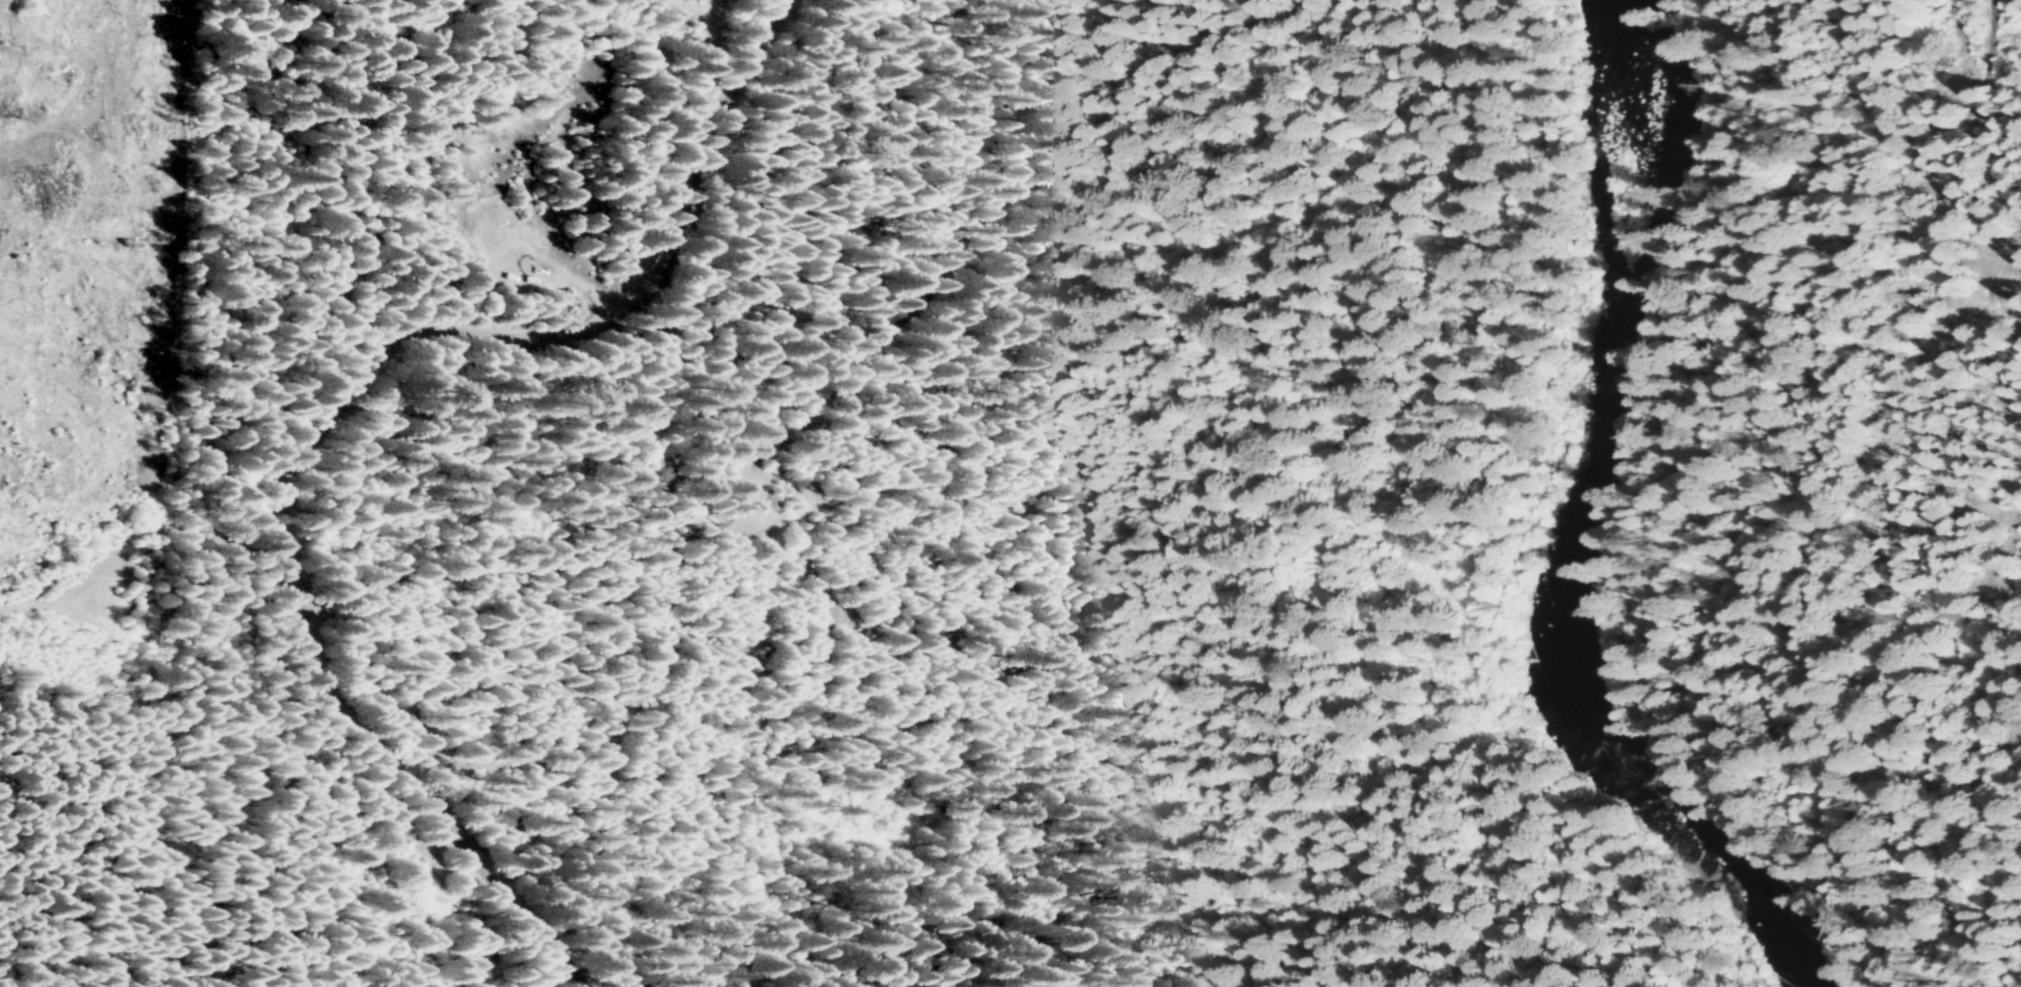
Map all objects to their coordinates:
road: (686, 121)
road: (1911, 159)
road: (307, 416)
road: (129, 532)
river: (1585, 536)

